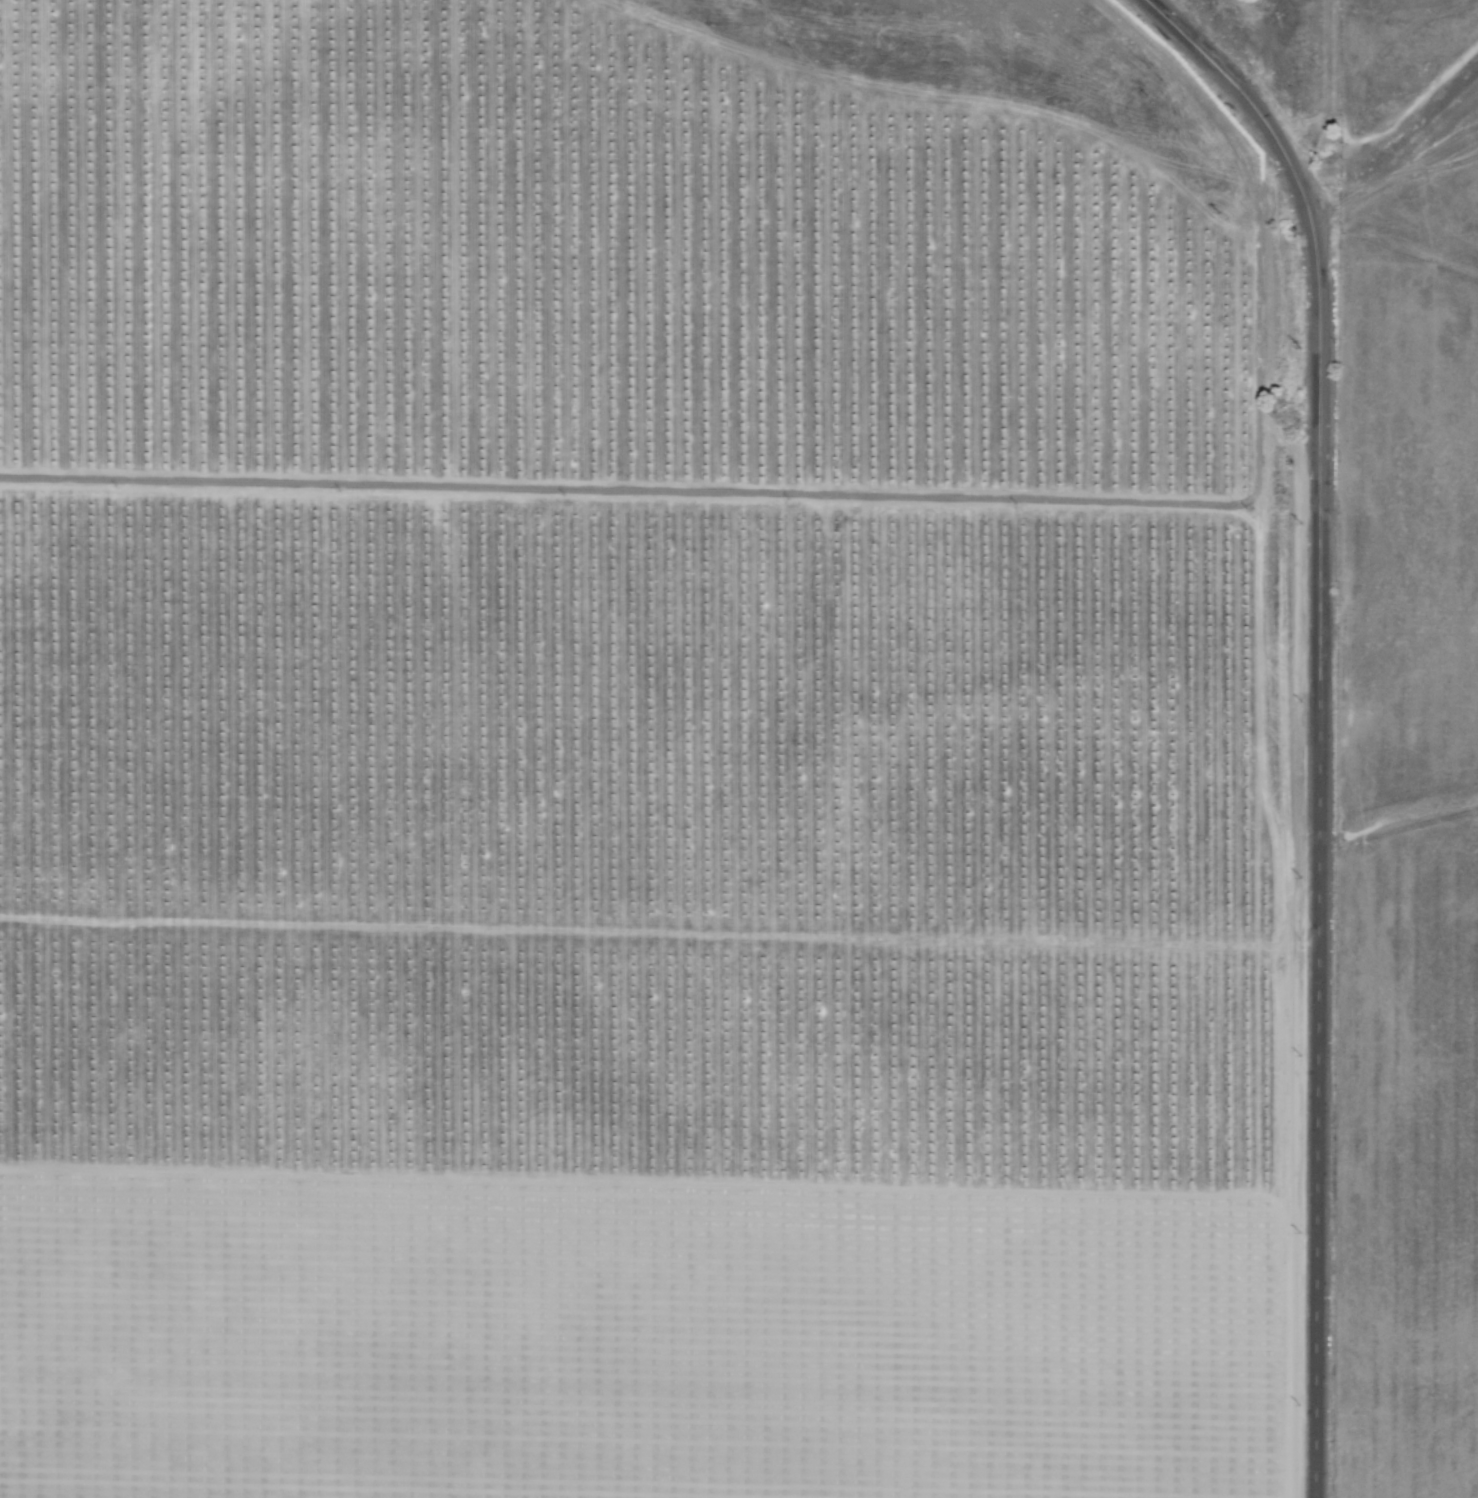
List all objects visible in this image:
road: (1317, 718)

